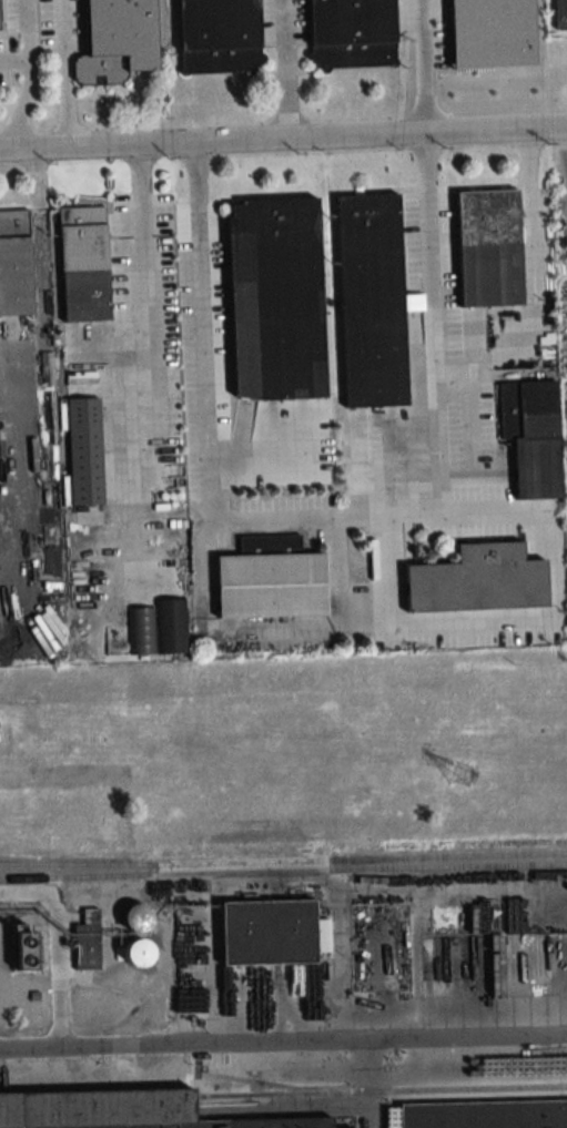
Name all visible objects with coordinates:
building: (559, 14)
building: (0, 18)
building: (351, 33)
building: (217, 37)
building: (117, 40)
road: (13, 60)
road: (415, 67)
road: (286, 70)
road: (27, 74)
road: (69, 74)
road: (495, 131)
road: (211, 142)
building: (488, 246)
building: (83, 262)
building: (14, 263)
road: (139, 292)
building: (275, 297)
building: (371, 299)
road: (479, 317)
building: (531, 435)
building: (84, 450)
road: (229, 520)
building: (477, 579)
building: (271, 585)
road: (519, 623)
building: (171, 626)
power tower: (458, 772)
railway: (283, 858)
railway: (283, 870)
building: (135, 917)
building: (267, 932)
building: (24, 946)
building: (87, 949)
building: (136, 952)
road: (283, 1036)
railway: (381, 1091)
building: (467, 1102)
building: (121, 1110)

